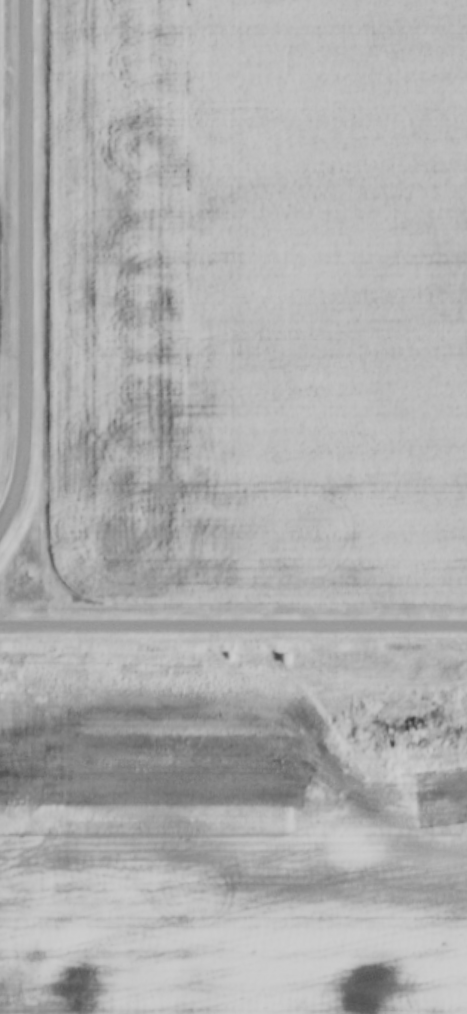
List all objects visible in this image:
road: (29, 271)
road: (233, 625)

